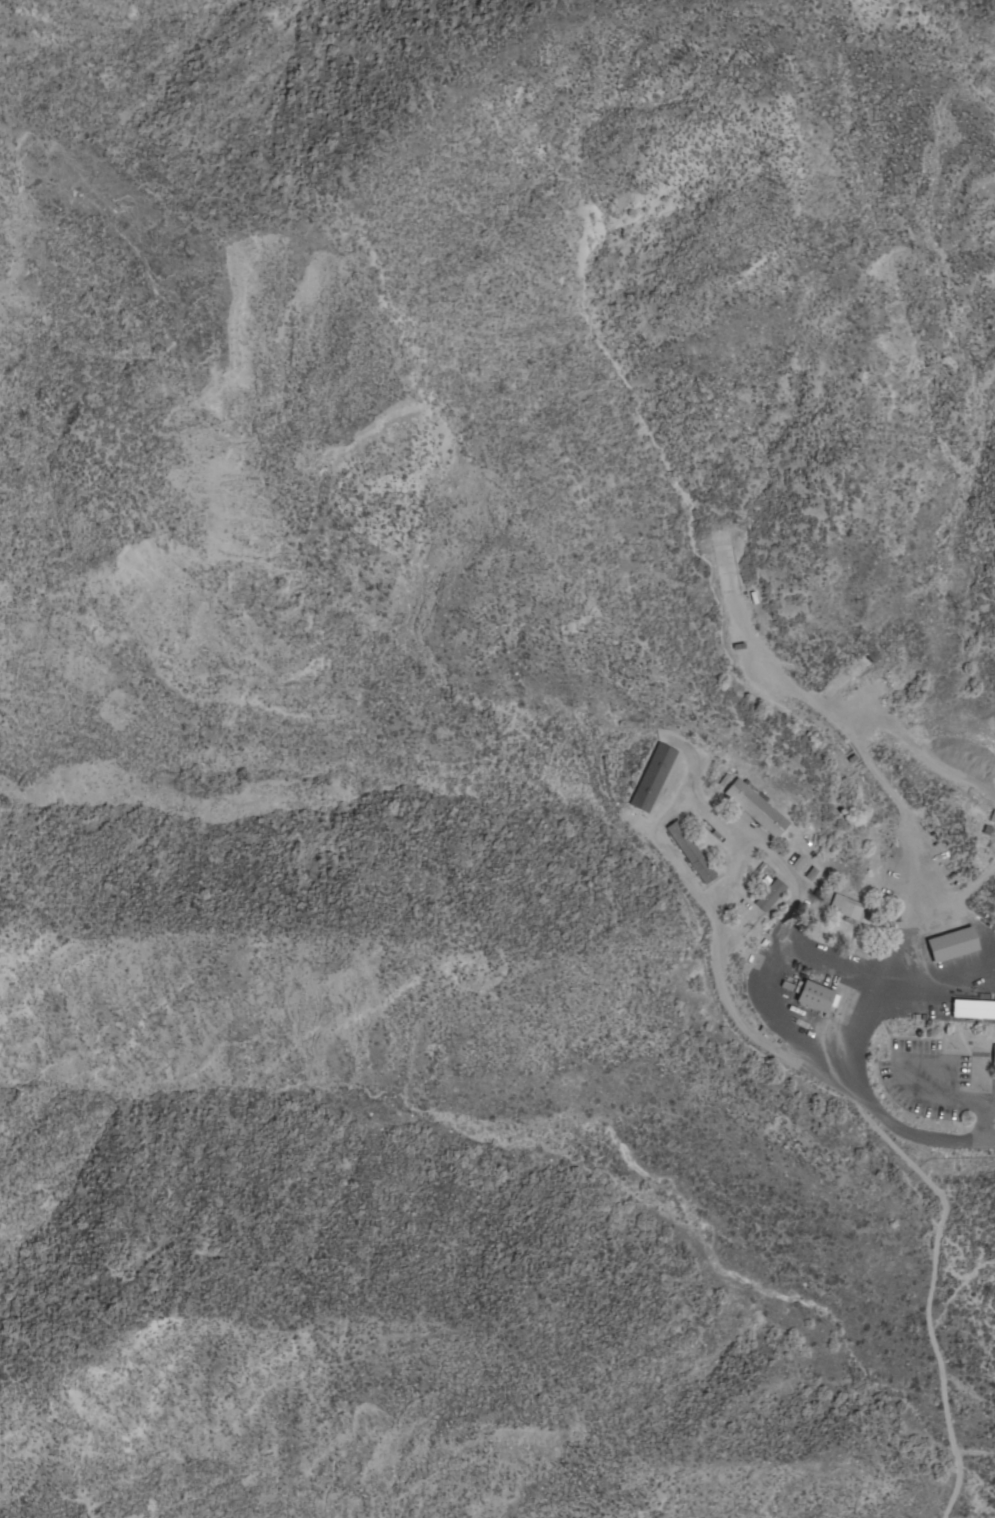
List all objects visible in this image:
building: (652, 777)
building: (755, 806)
building: (689, 852)
building: (769, 895)
road: (697, 900)
building: (846, 908)
building: (951, 944)
building: (814, 996)
building: (969, 1010)
road: (845, 1055)
building: (993, 1056)

